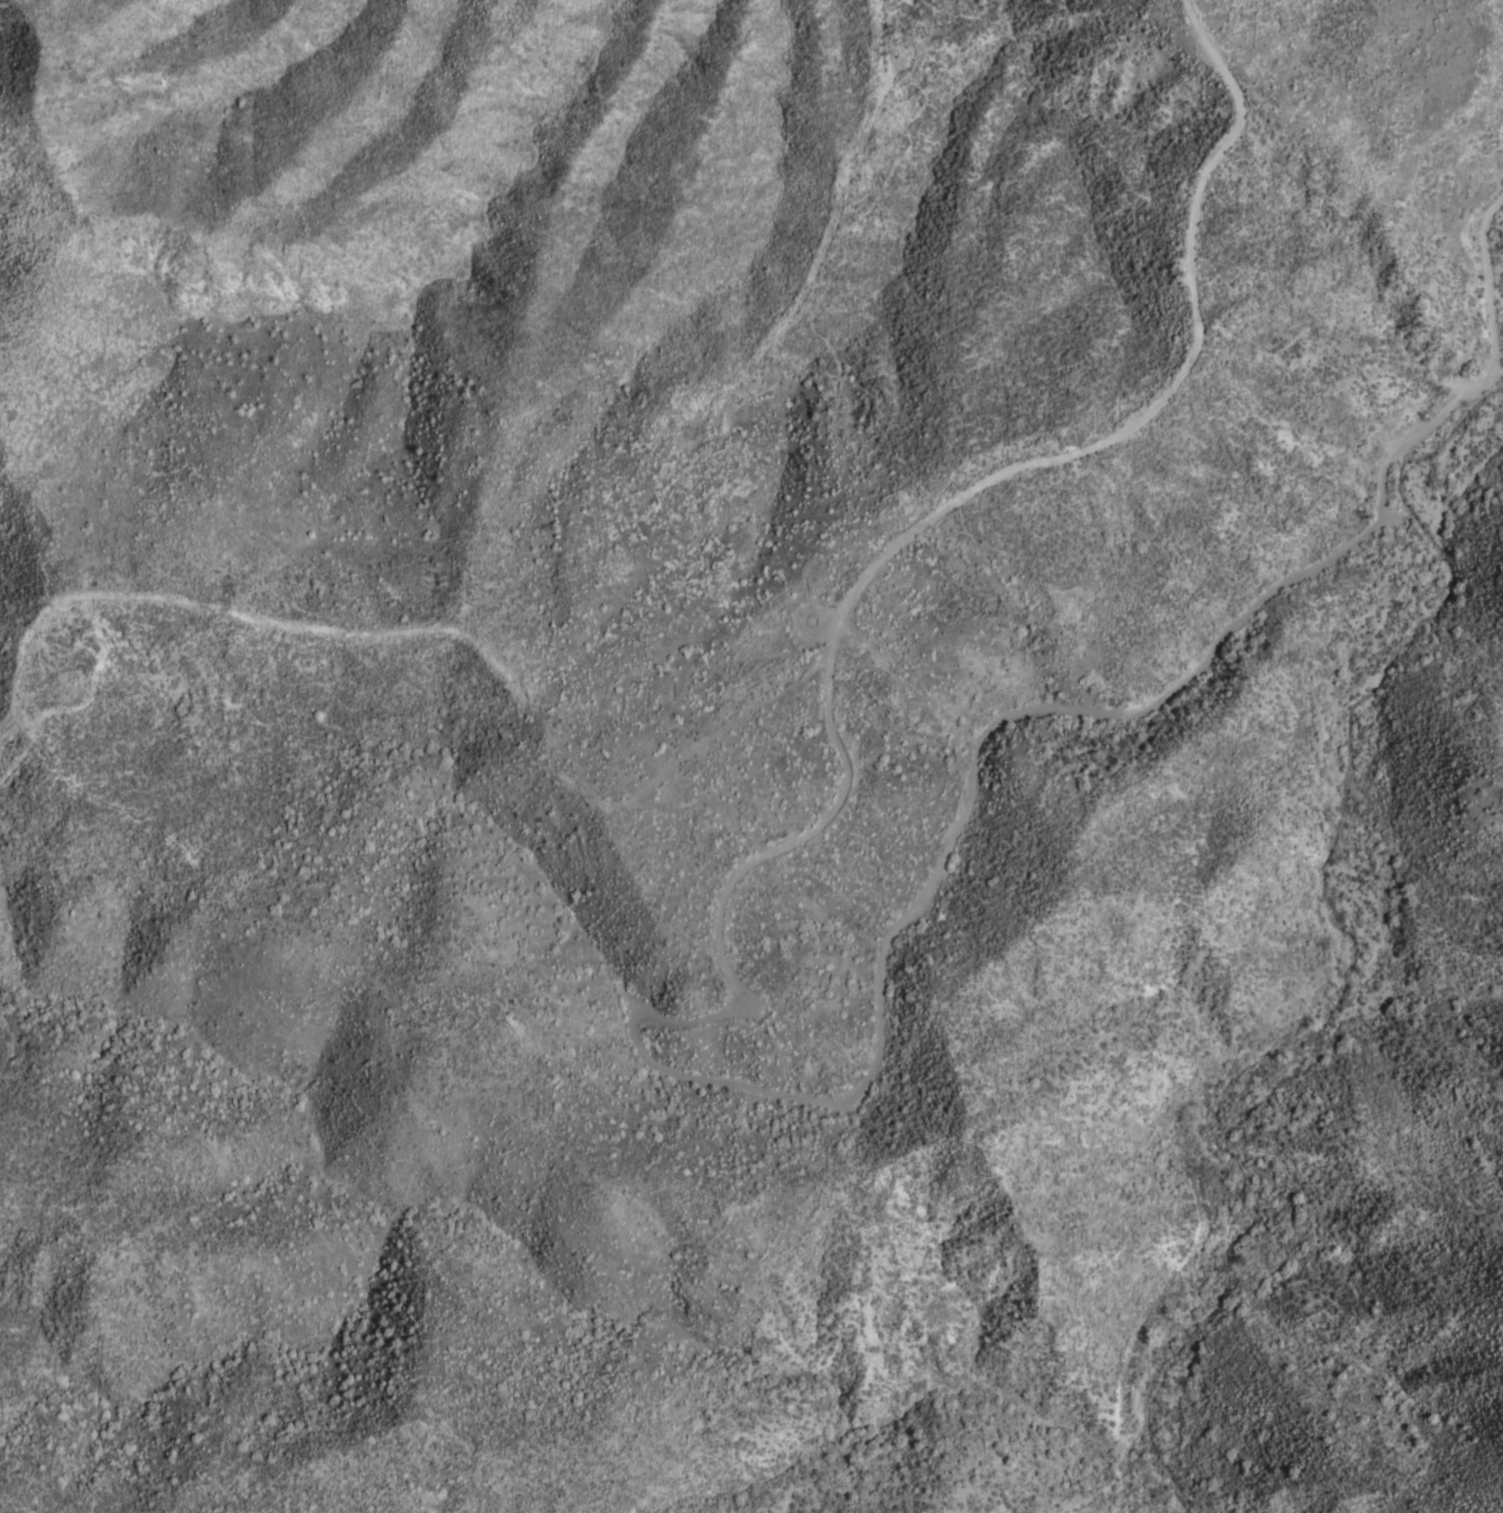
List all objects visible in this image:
road: (650, 1062)

